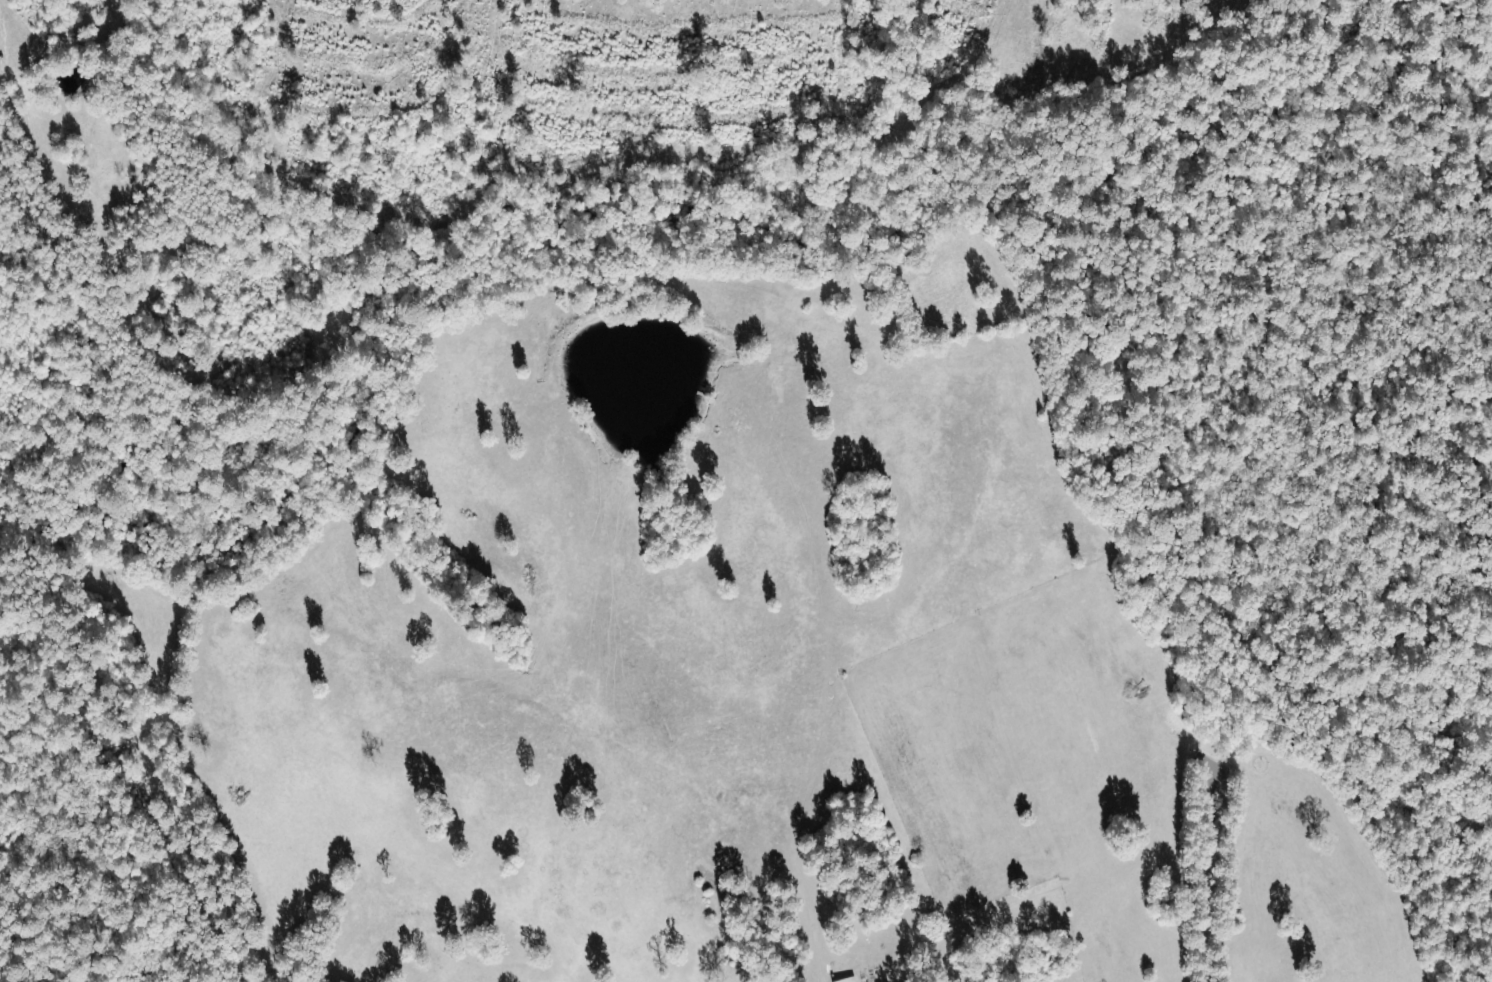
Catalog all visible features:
building: (845, 979)

